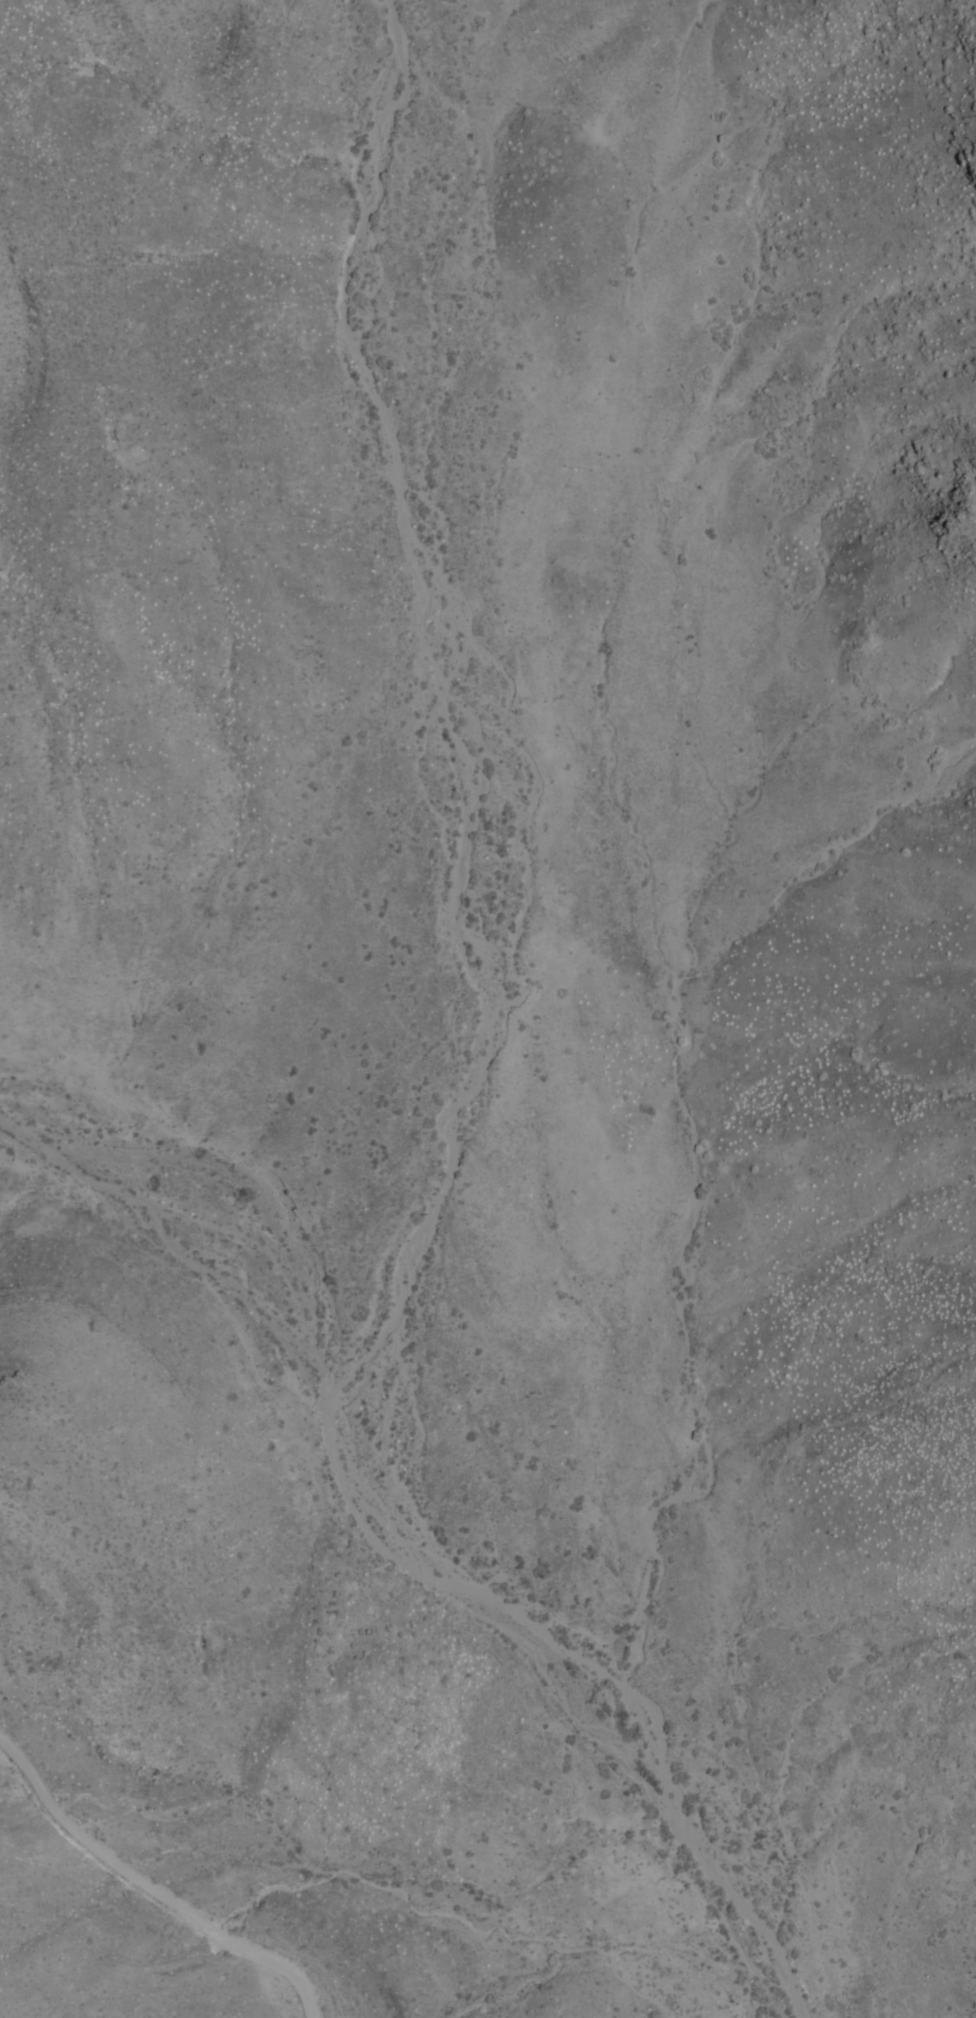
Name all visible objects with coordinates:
river: (13, 1795)
river: (39, 1798)
river: (366, 1884)
road: (148, 1890)
river: (608, 1956)

